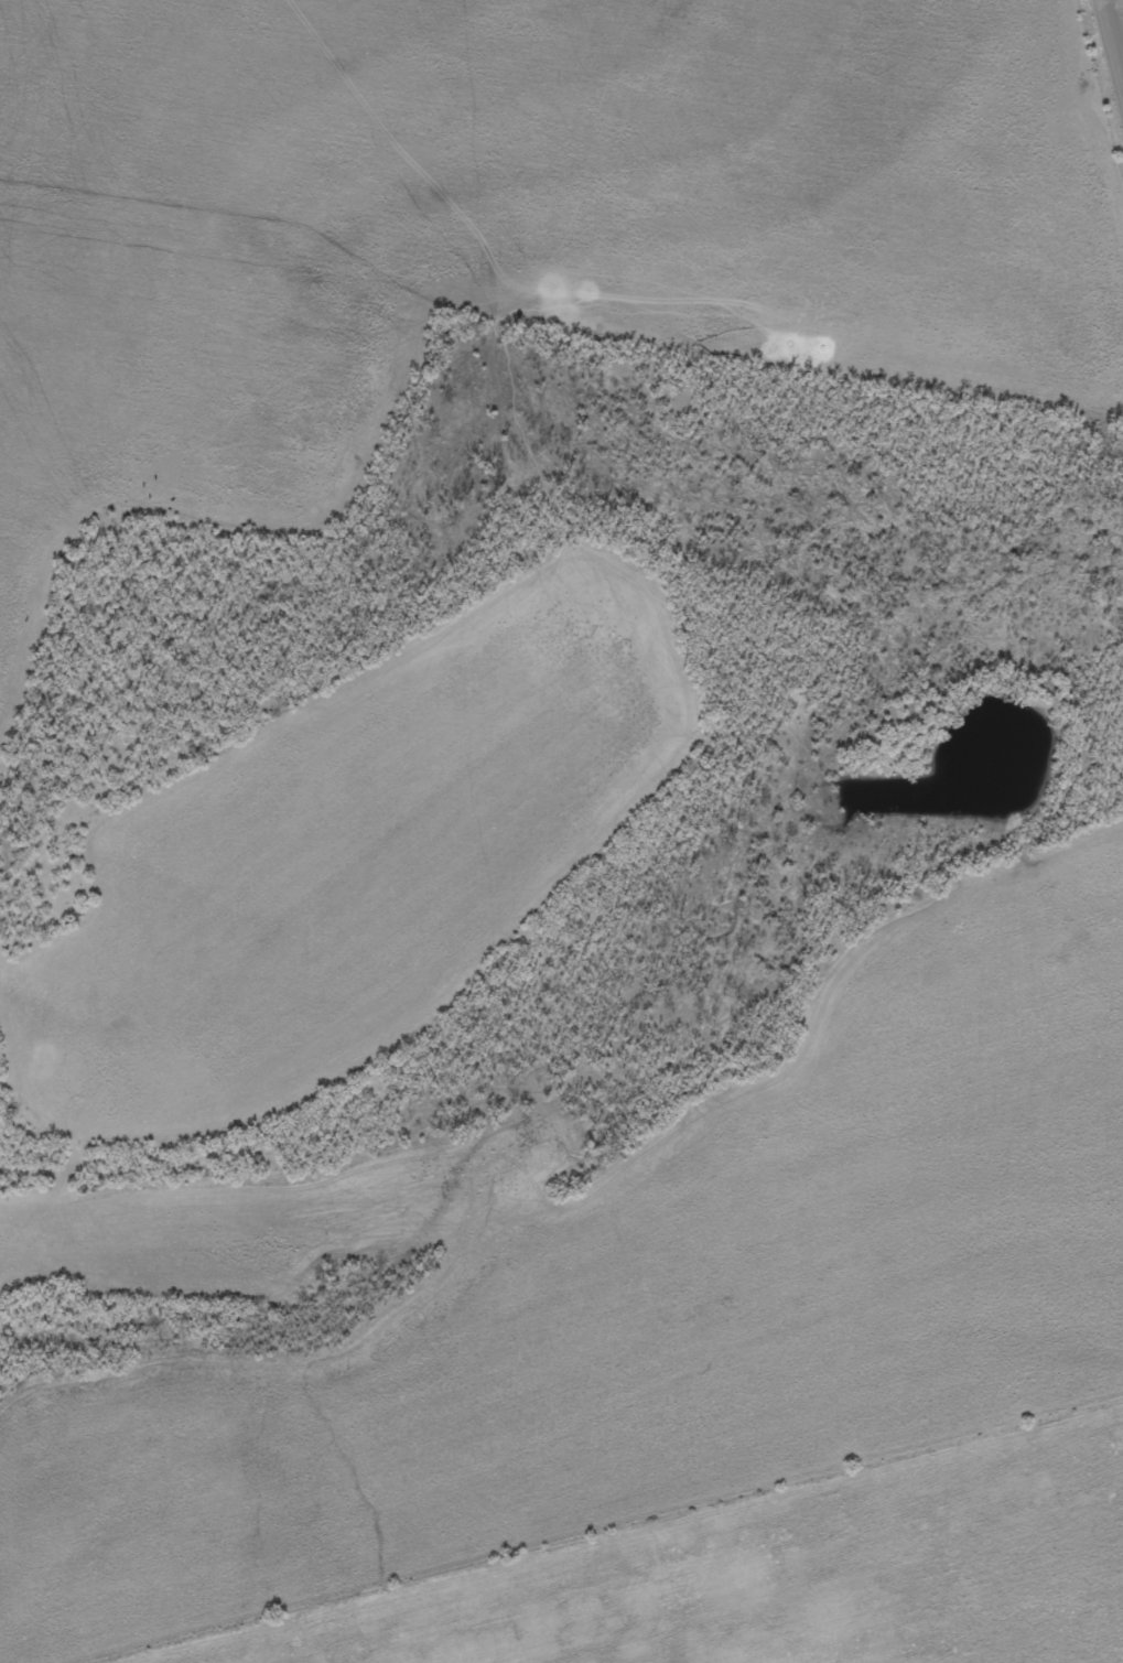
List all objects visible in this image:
road: (54, 1187)

